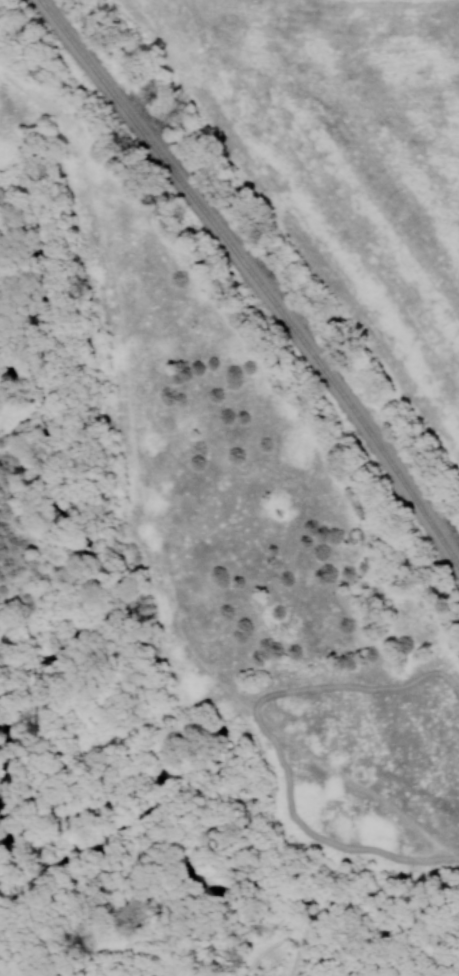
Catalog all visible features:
park: (329, 165)
park: (21, 258)
river: (39, 266)
railway: (257, 277)
park: (34, 525)
park: (216, 597)

